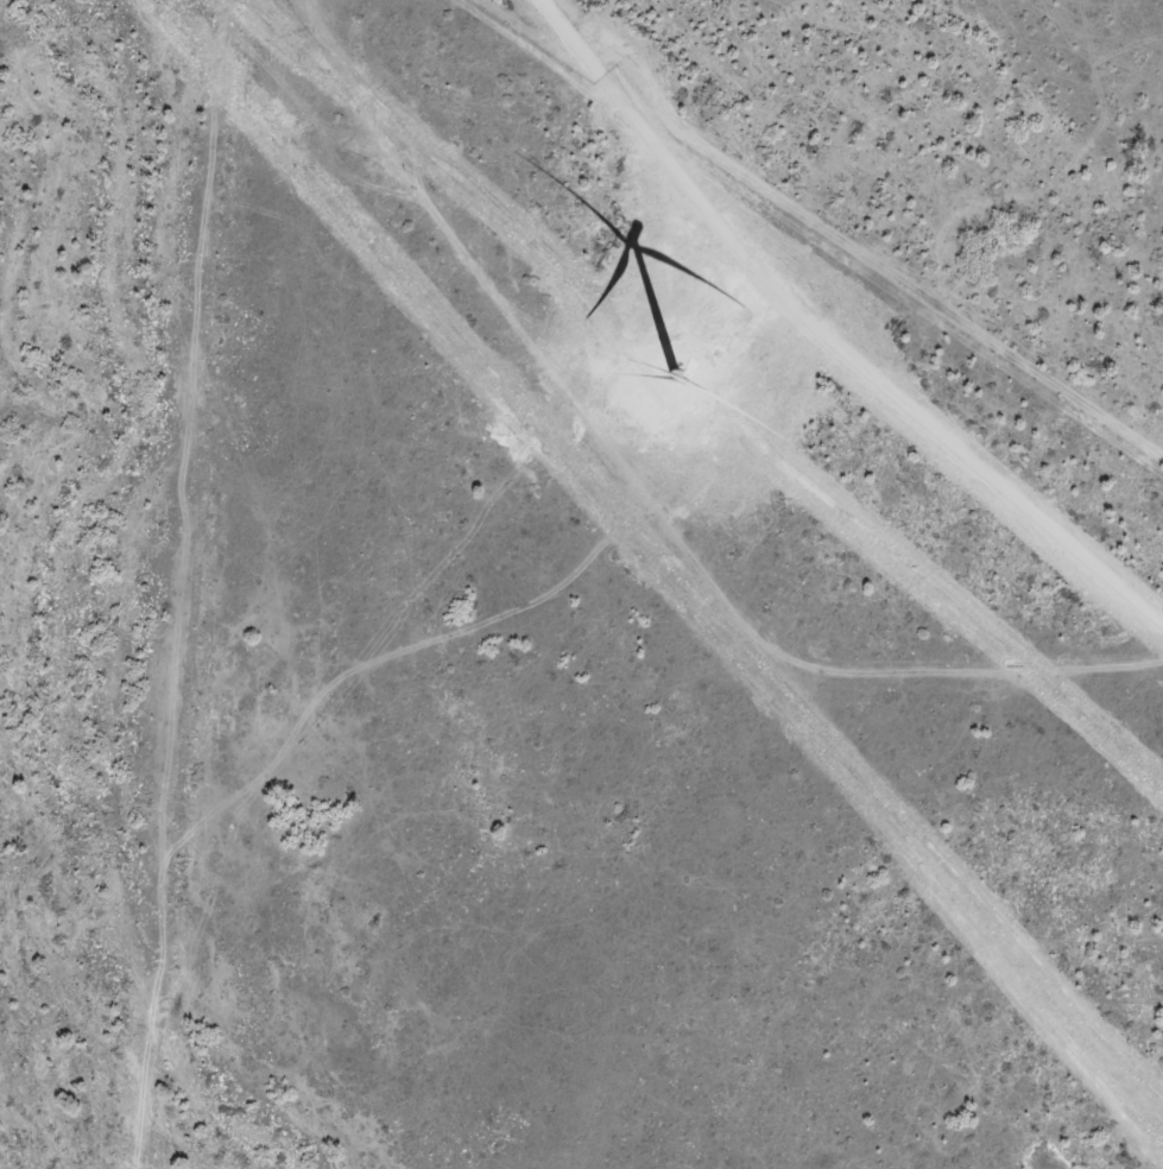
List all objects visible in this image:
wind turbine: (670, 378)
road: (722, 584)
road: (1004, 683)

